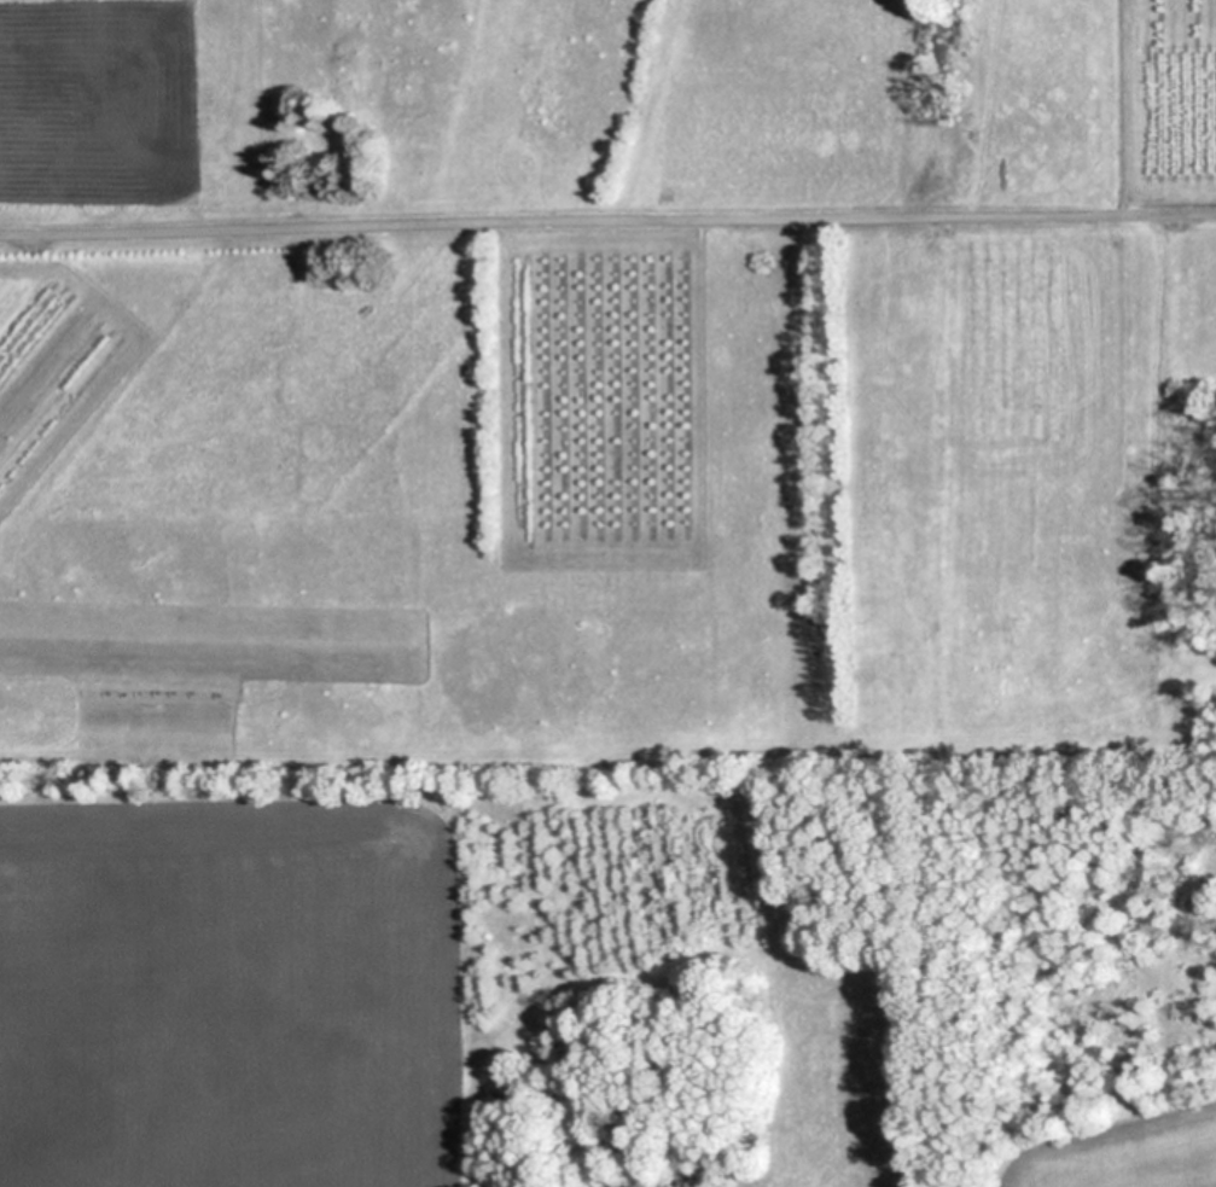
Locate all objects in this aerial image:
crop: (606, 398)

